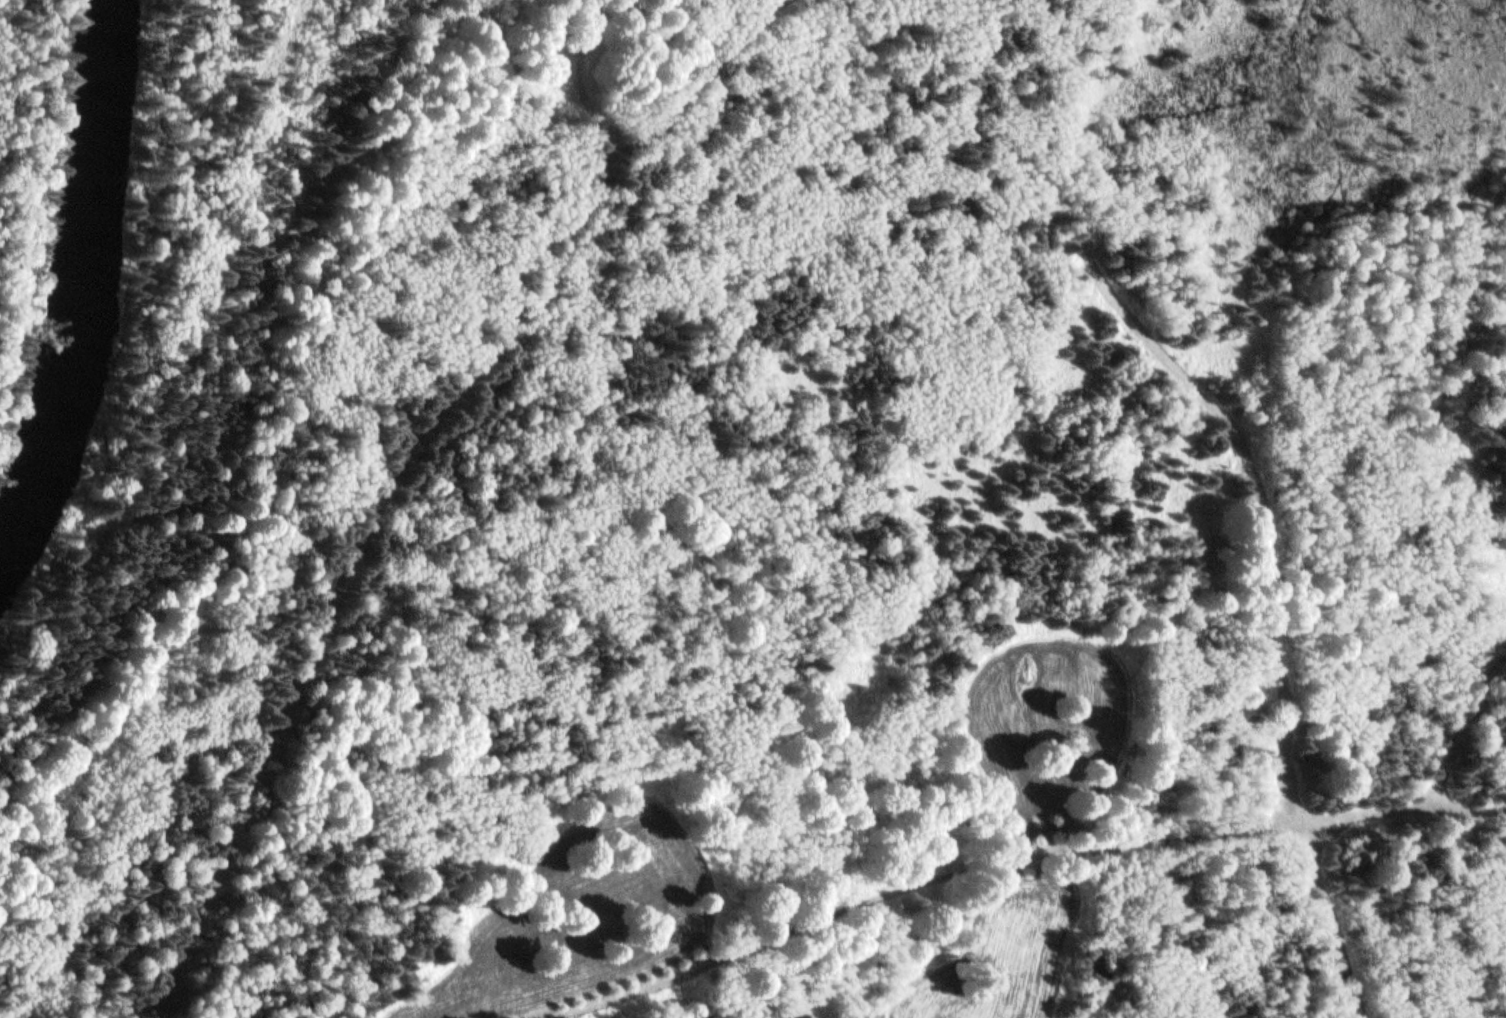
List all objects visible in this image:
river: (75, 280)

